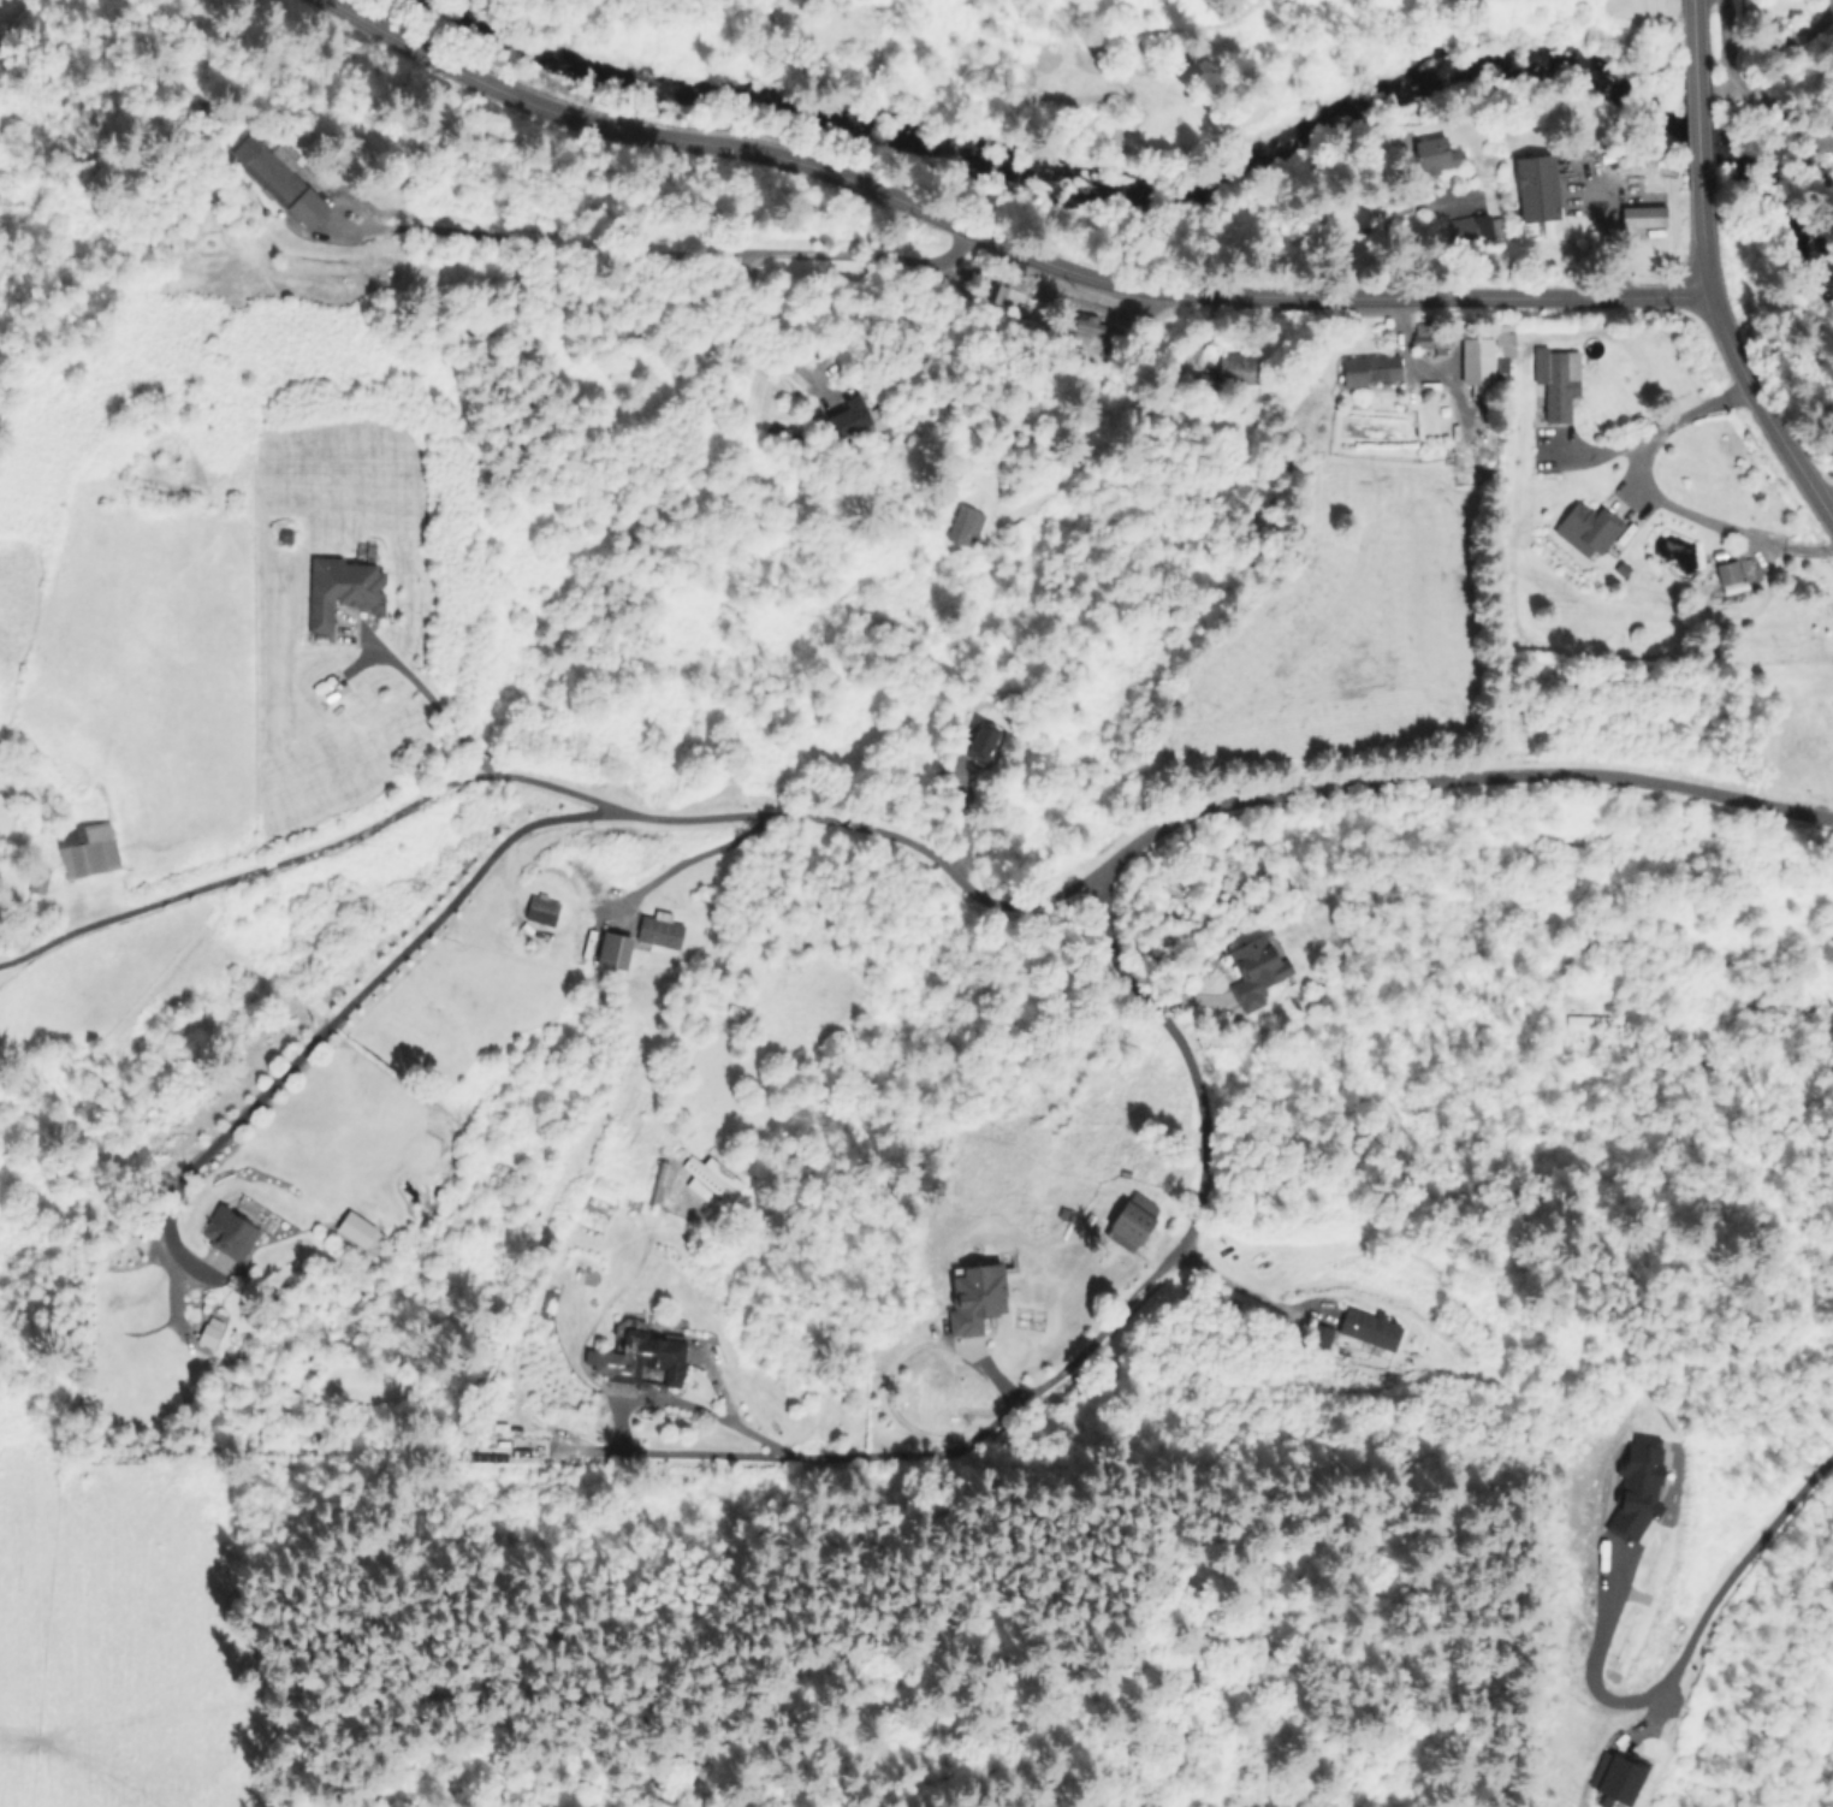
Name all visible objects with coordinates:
road: (1758, 77)
road: (1696, 123)
building: (1436, 155)
building: (267, 167)
building: (1536, 190)
building: (307, 207)
building: (1642, 215)
building: (1467, 226)
road: (998, 242)
road: (674, 255)
road: (1706, 268)
road: (766, 334)
building: (1502, 338)
building: (1475, 363)
building: (1238, 367)
building: (1369, 369)
building: (1555, 379)
road: (1757, 411)
building: (854, 416)
road: (1827, 500)
road: (1660, 502)
building: (963, 525)
building: (1585, 527)
building: (1726, 568)
building: (342, 591)
road: (433, 703)
building: (980, 742)
road: (1453, 777)
road: (797, 814)
building: (85, 848)
road: (693, 857)
road: (243, 872)
building: (540, 910)
building: (658, 930)
building: (613, 949)
building: (1254, 971)
road: (342, 1008)
building: (708, 1179)
building: (646, 1186)
building: (1128, 1226)
building: (360, 1232)
road: (1236, 1286)
building: (975, 1297)
road: (1109, 1317)
building: (1369, 1328)
building: (208, 1331)
road: (898, 1356)
building: (645, 1358)
road: (708, 1414)
building: (503, 1448)
building: (1637, 1486)
road: (1683, 1649)
building: (1614, 1778)

